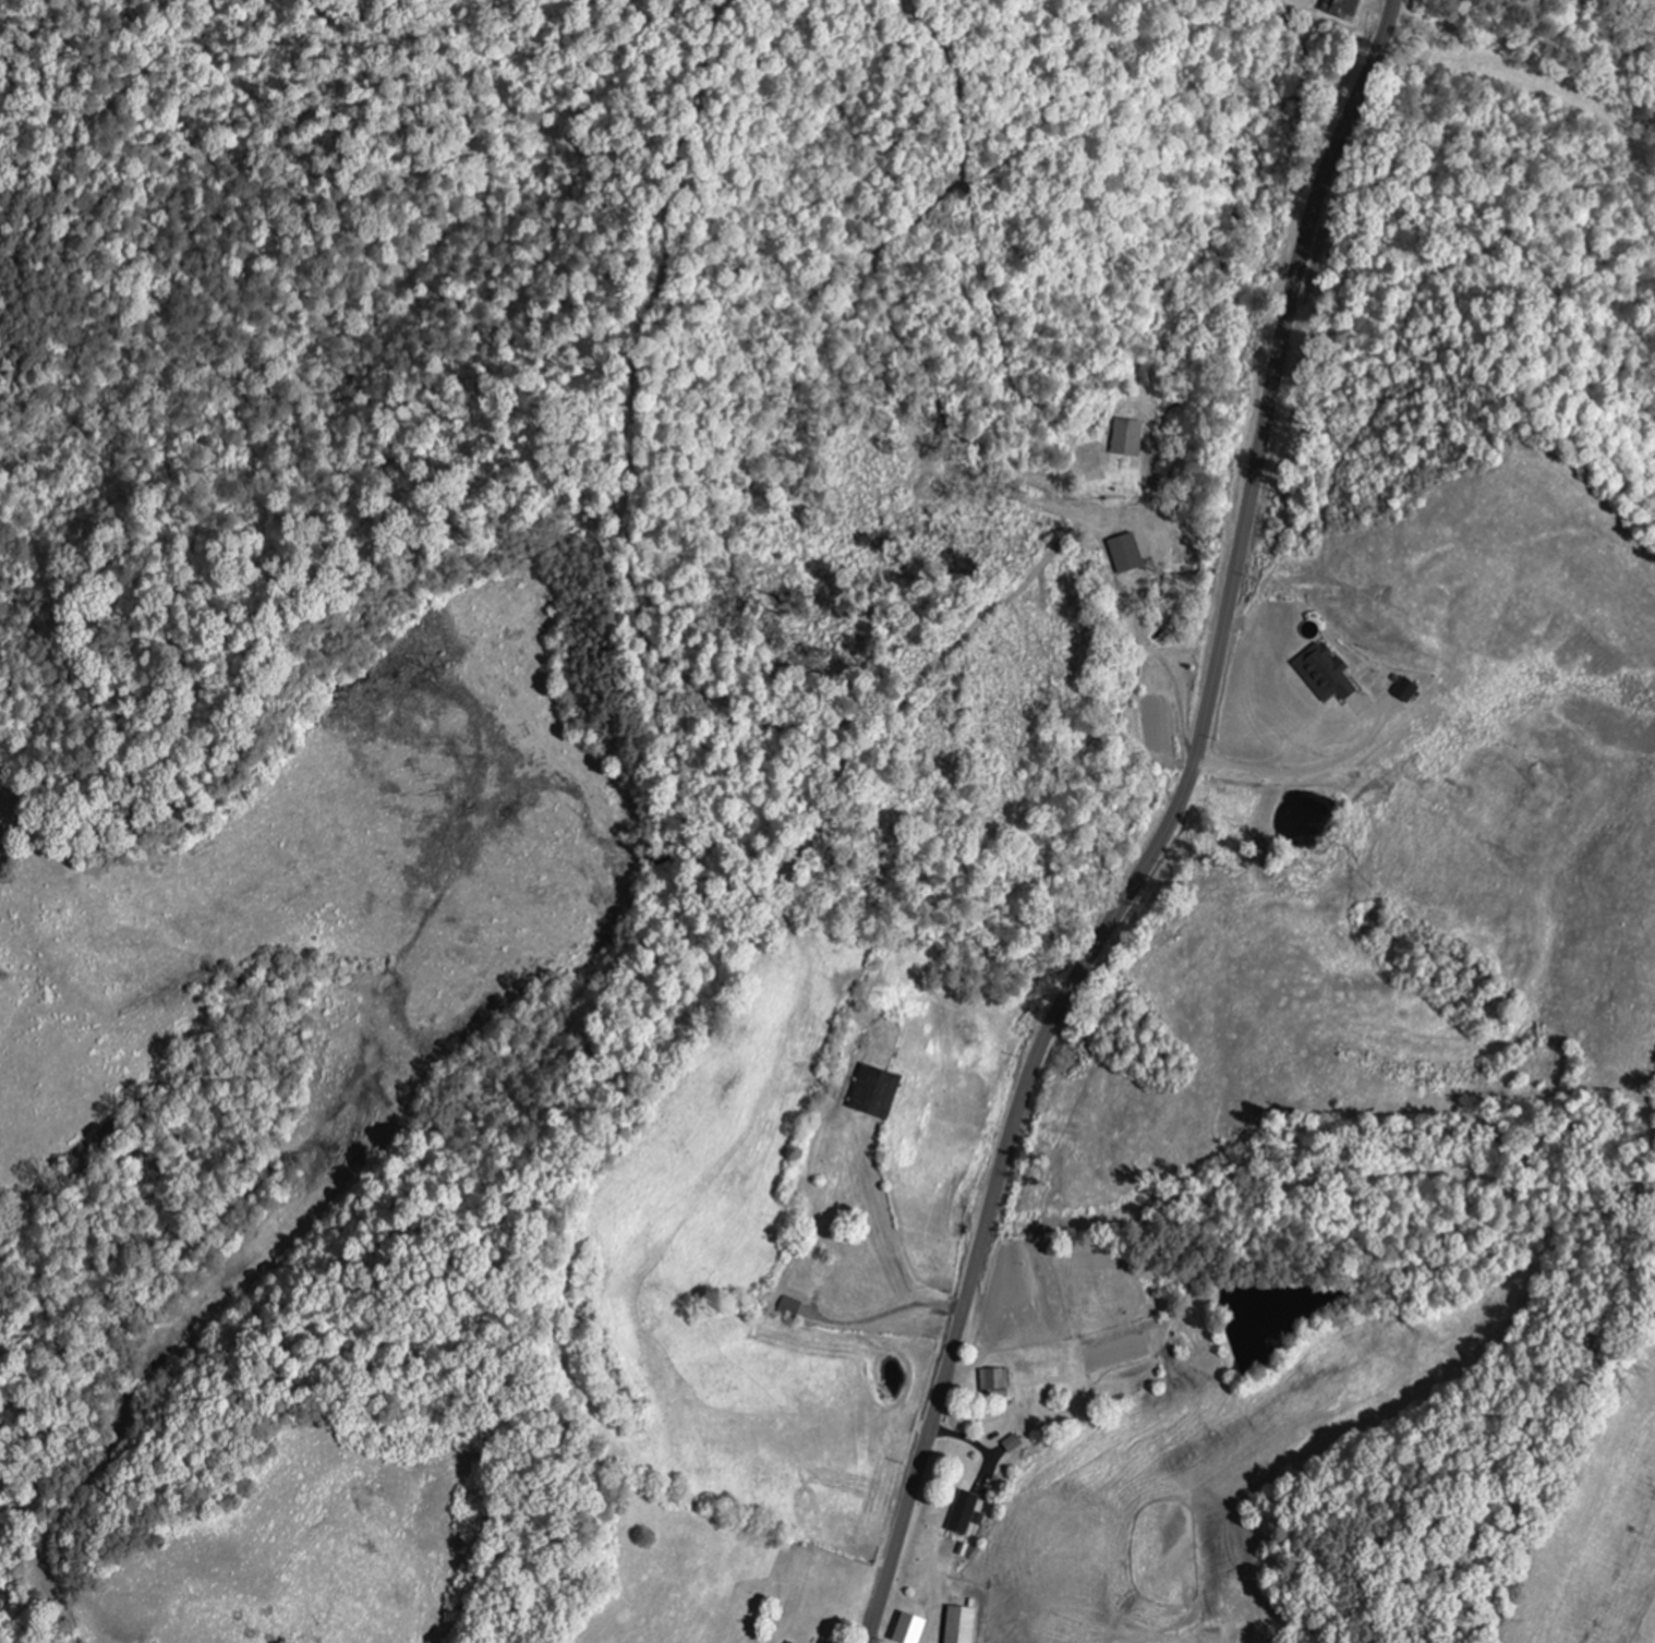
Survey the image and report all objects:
building: (1341, 9)
building: (1126, 437)
building: (1125, 553)
building: (1324, 674)
building: (1405, 689)
road: (1159, 831)
building: (873, 1091)
building: (993, 1379)
building: (963, 1512)
building: (959, 1624)
building: (907, 1629)
building: (786, 1642)

